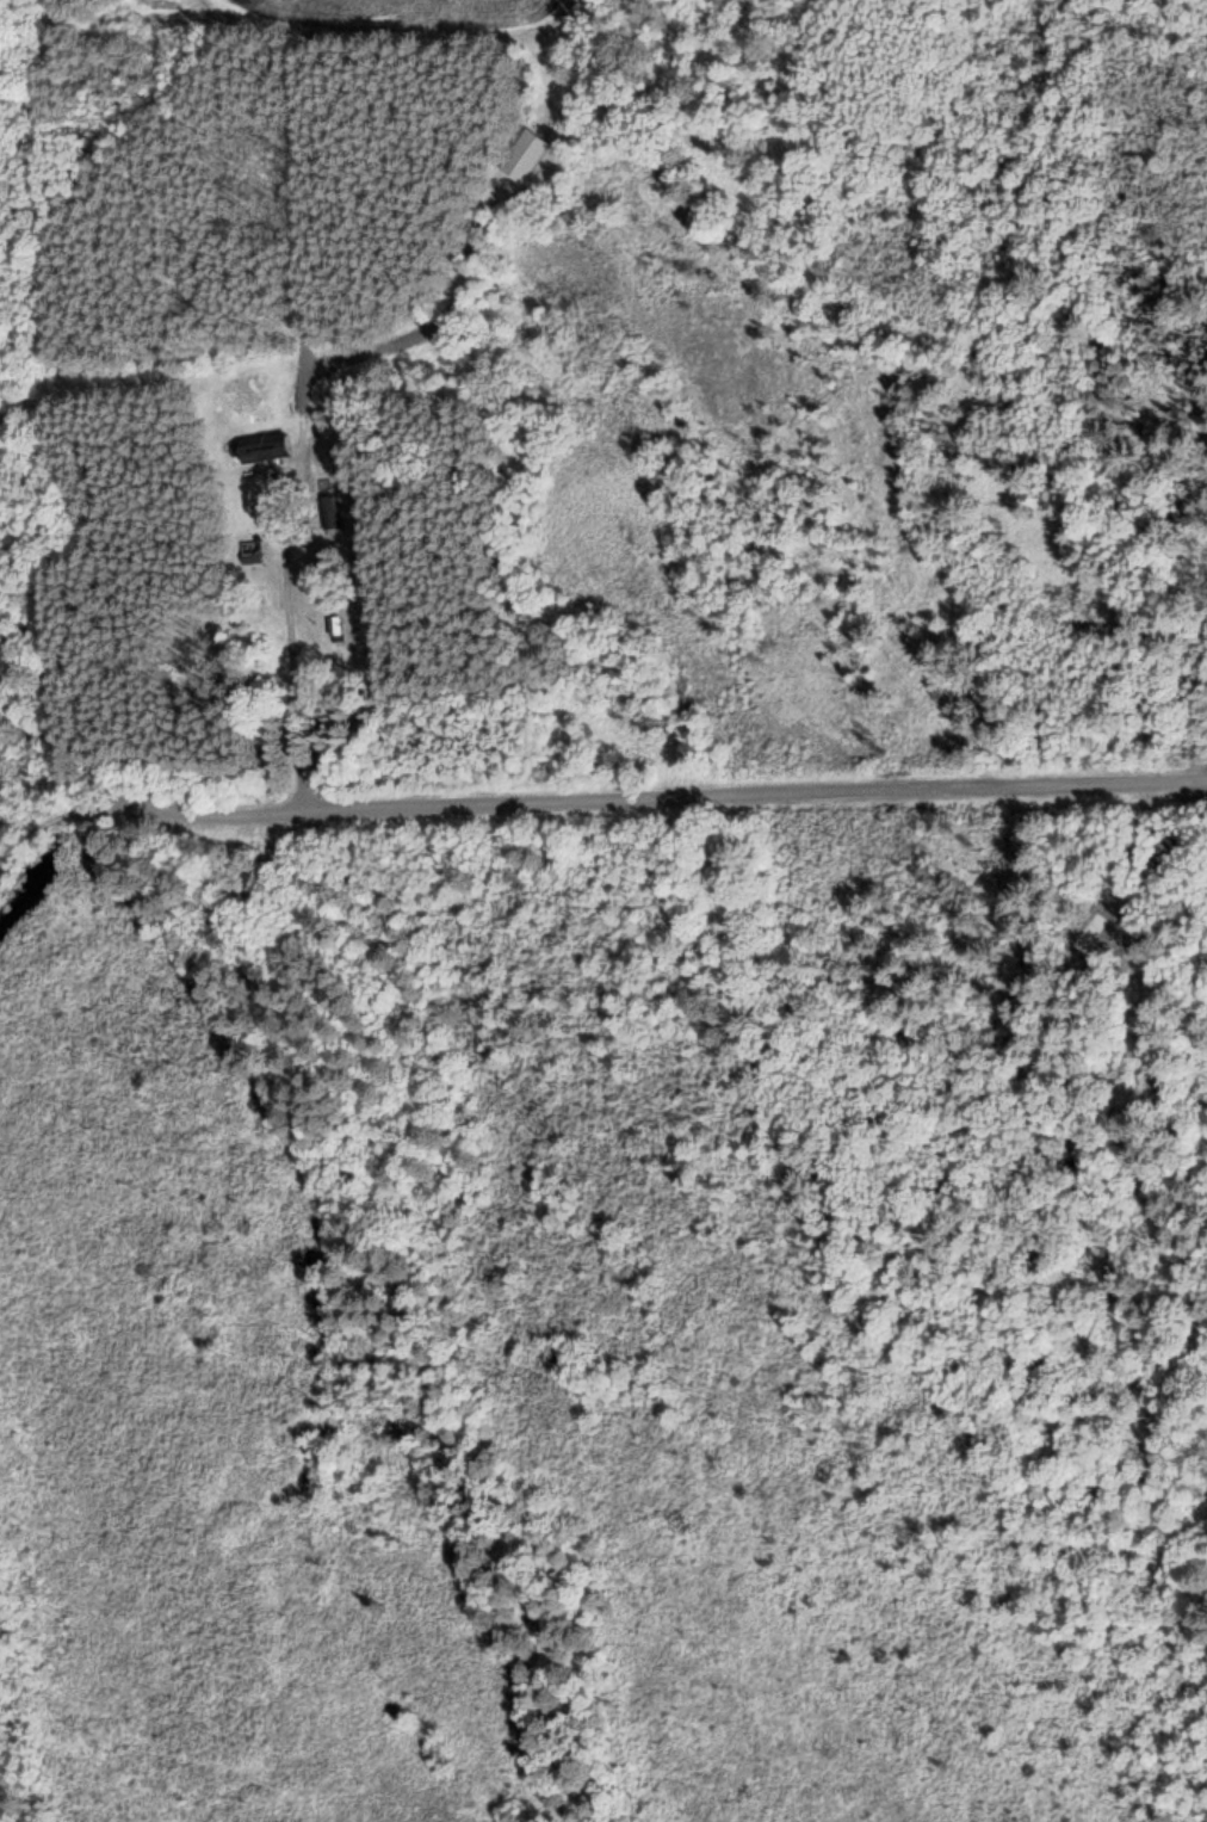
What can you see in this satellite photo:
building: (527, 154)
building: (270, 451)
building: (252, 552)
road: (291, 674)
road: (83, 765)
road: (700, 797)

